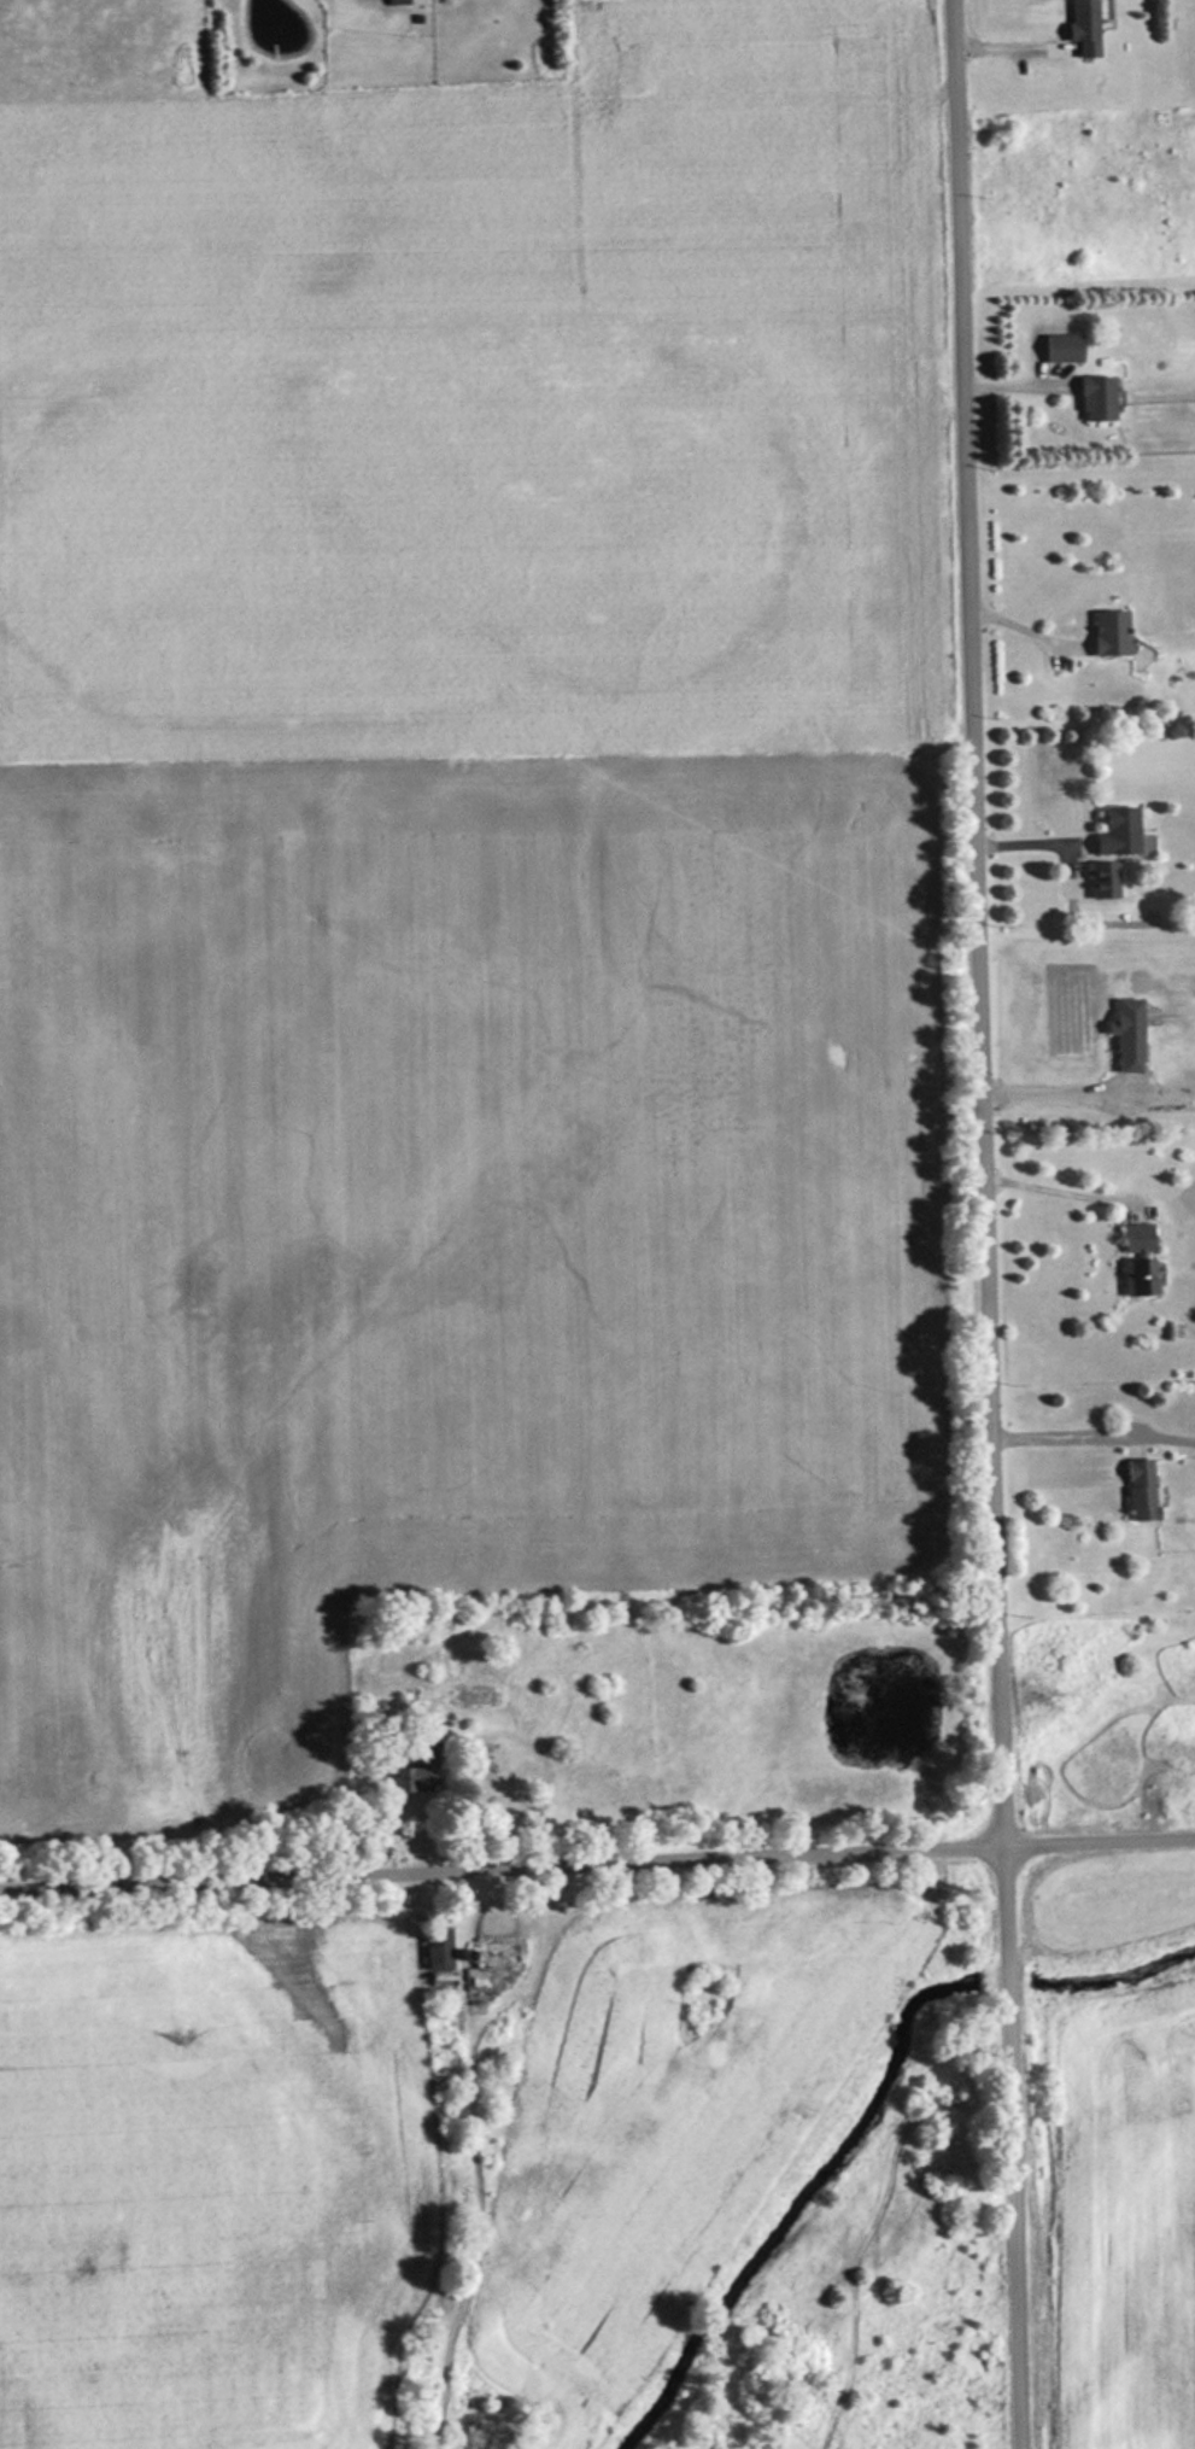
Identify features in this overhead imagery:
building: (1083, 25)
building: (1061, 352)
building: (1096, 397)
building: (1109, 632)
building: (1119, 830)
building: (1129, 1035)
road: (983, 1224)
building: (1137, 1238)
building: (1138, 1278)
building: (1141, 1489)
building: (424, 1749)
building: (414, 1777)
road: (597, 1857)
building: (438, 1946)

